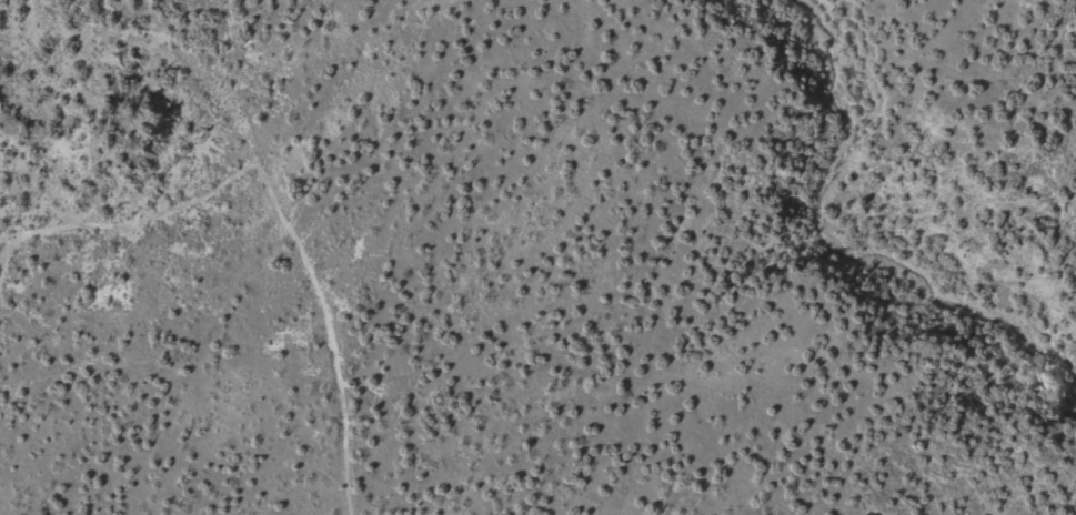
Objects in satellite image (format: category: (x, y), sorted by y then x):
park: (537, 257)

